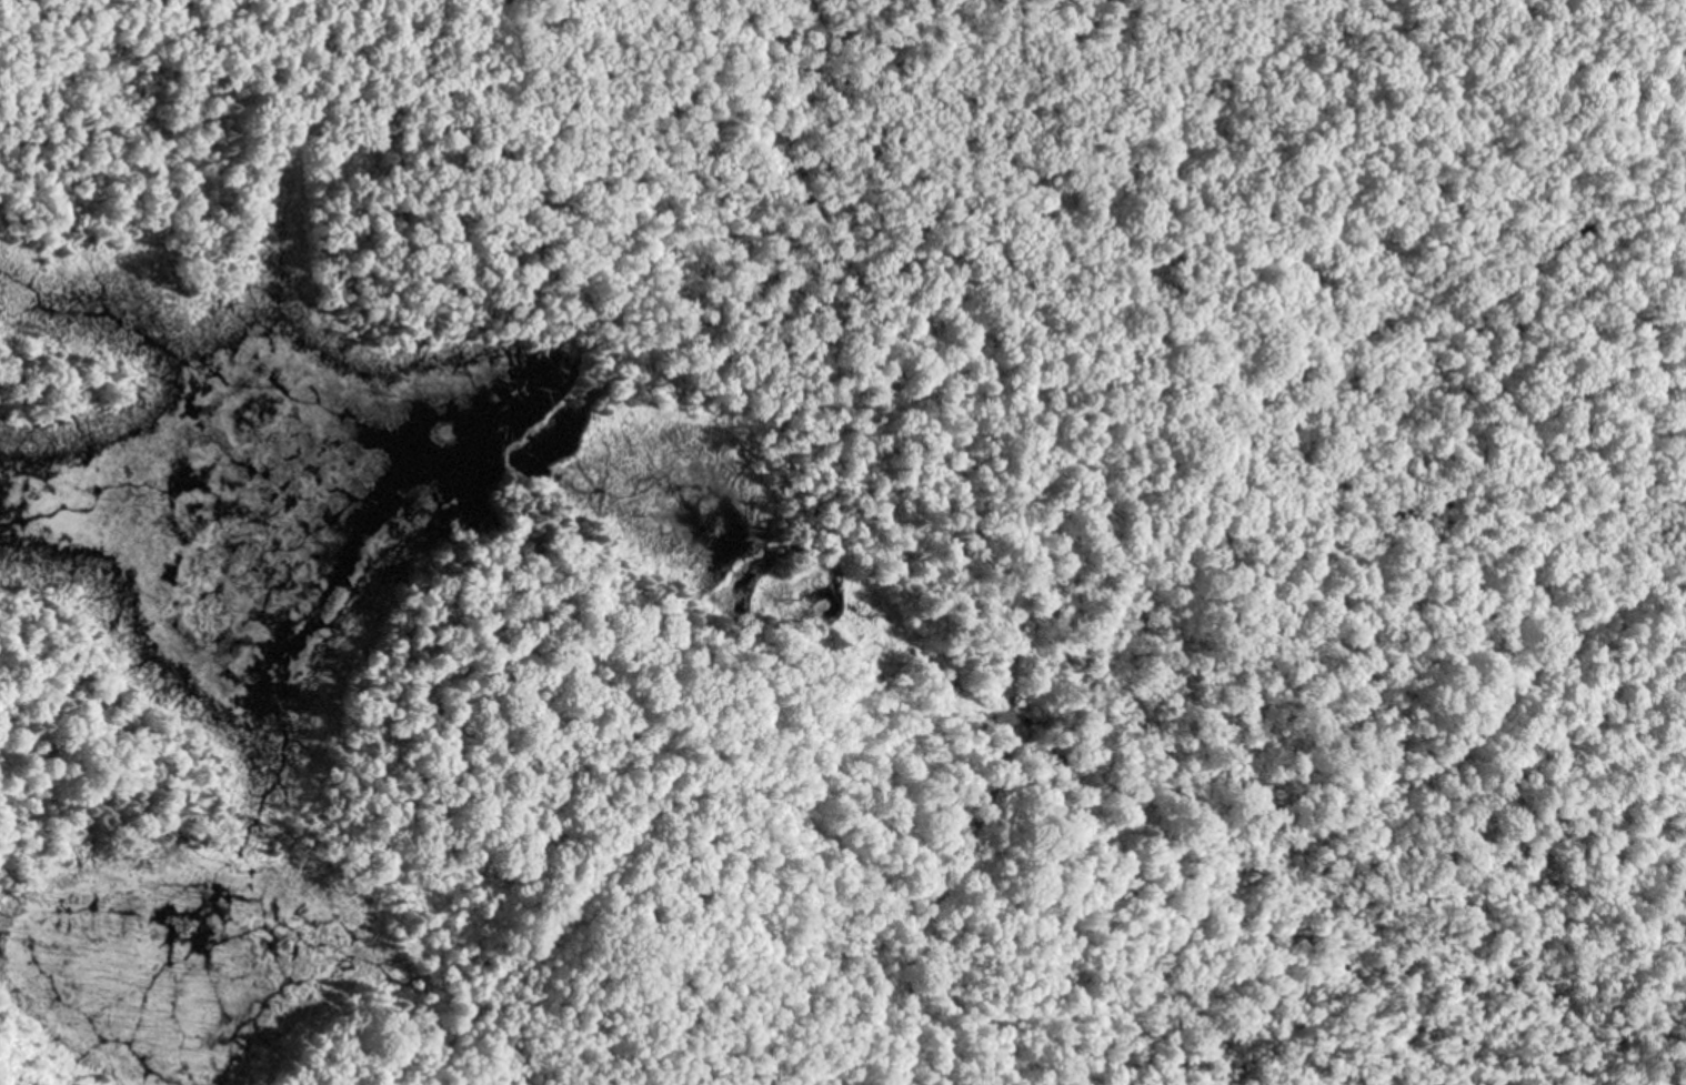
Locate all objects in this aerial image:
road: (925, 543)
road: (453, 683)
road: (109, 1038)

